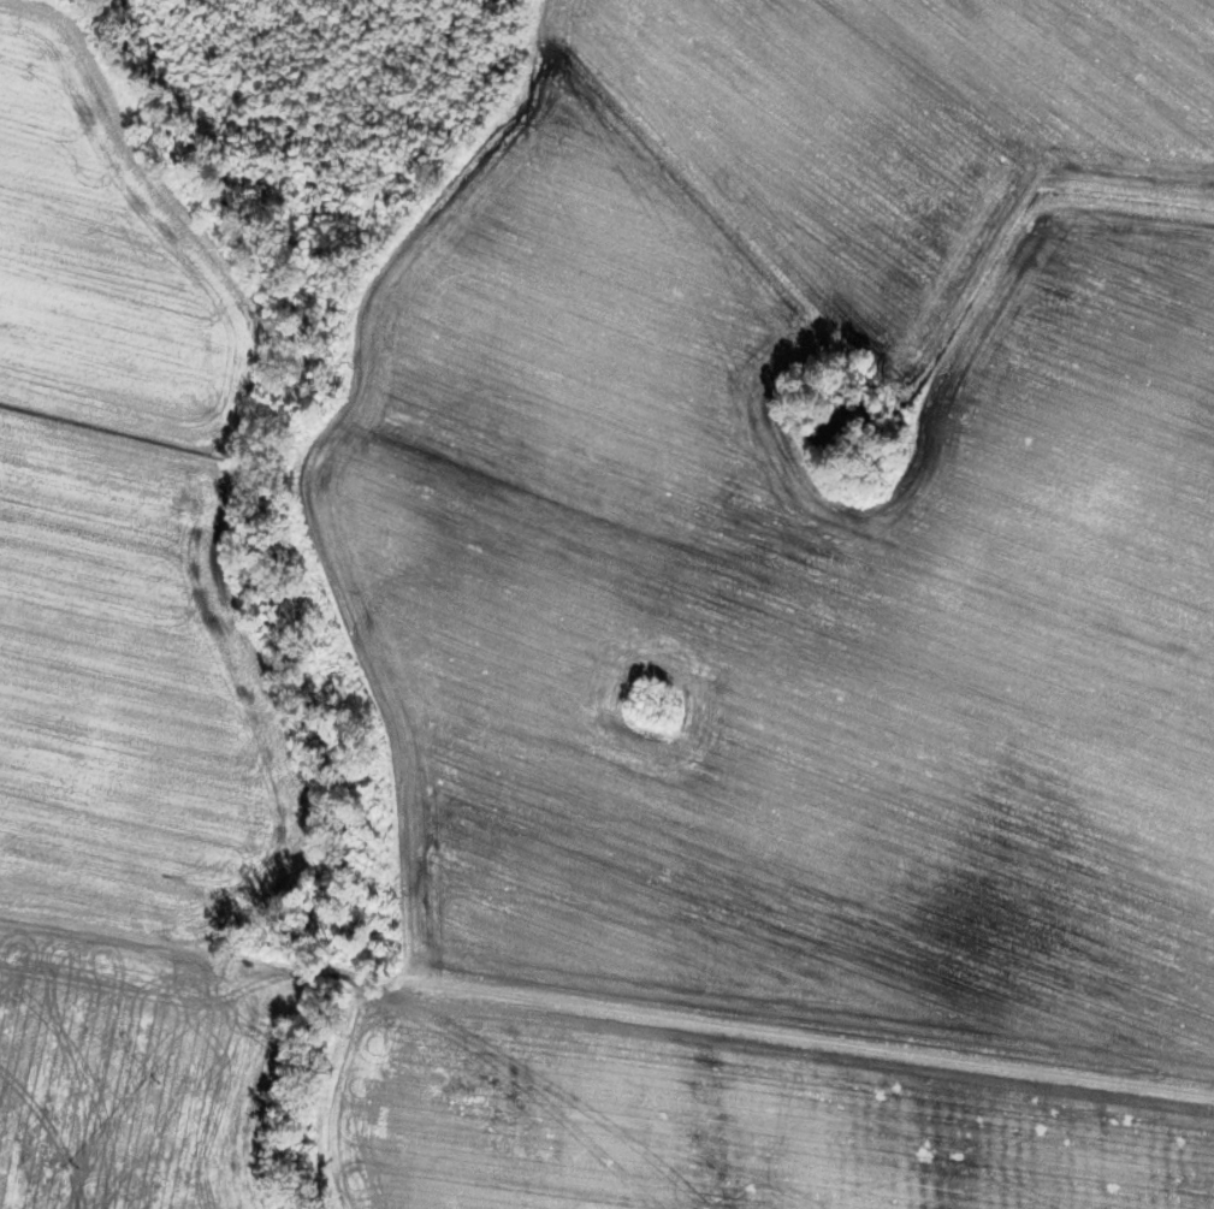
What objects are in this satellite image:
road: (606, 1009)

